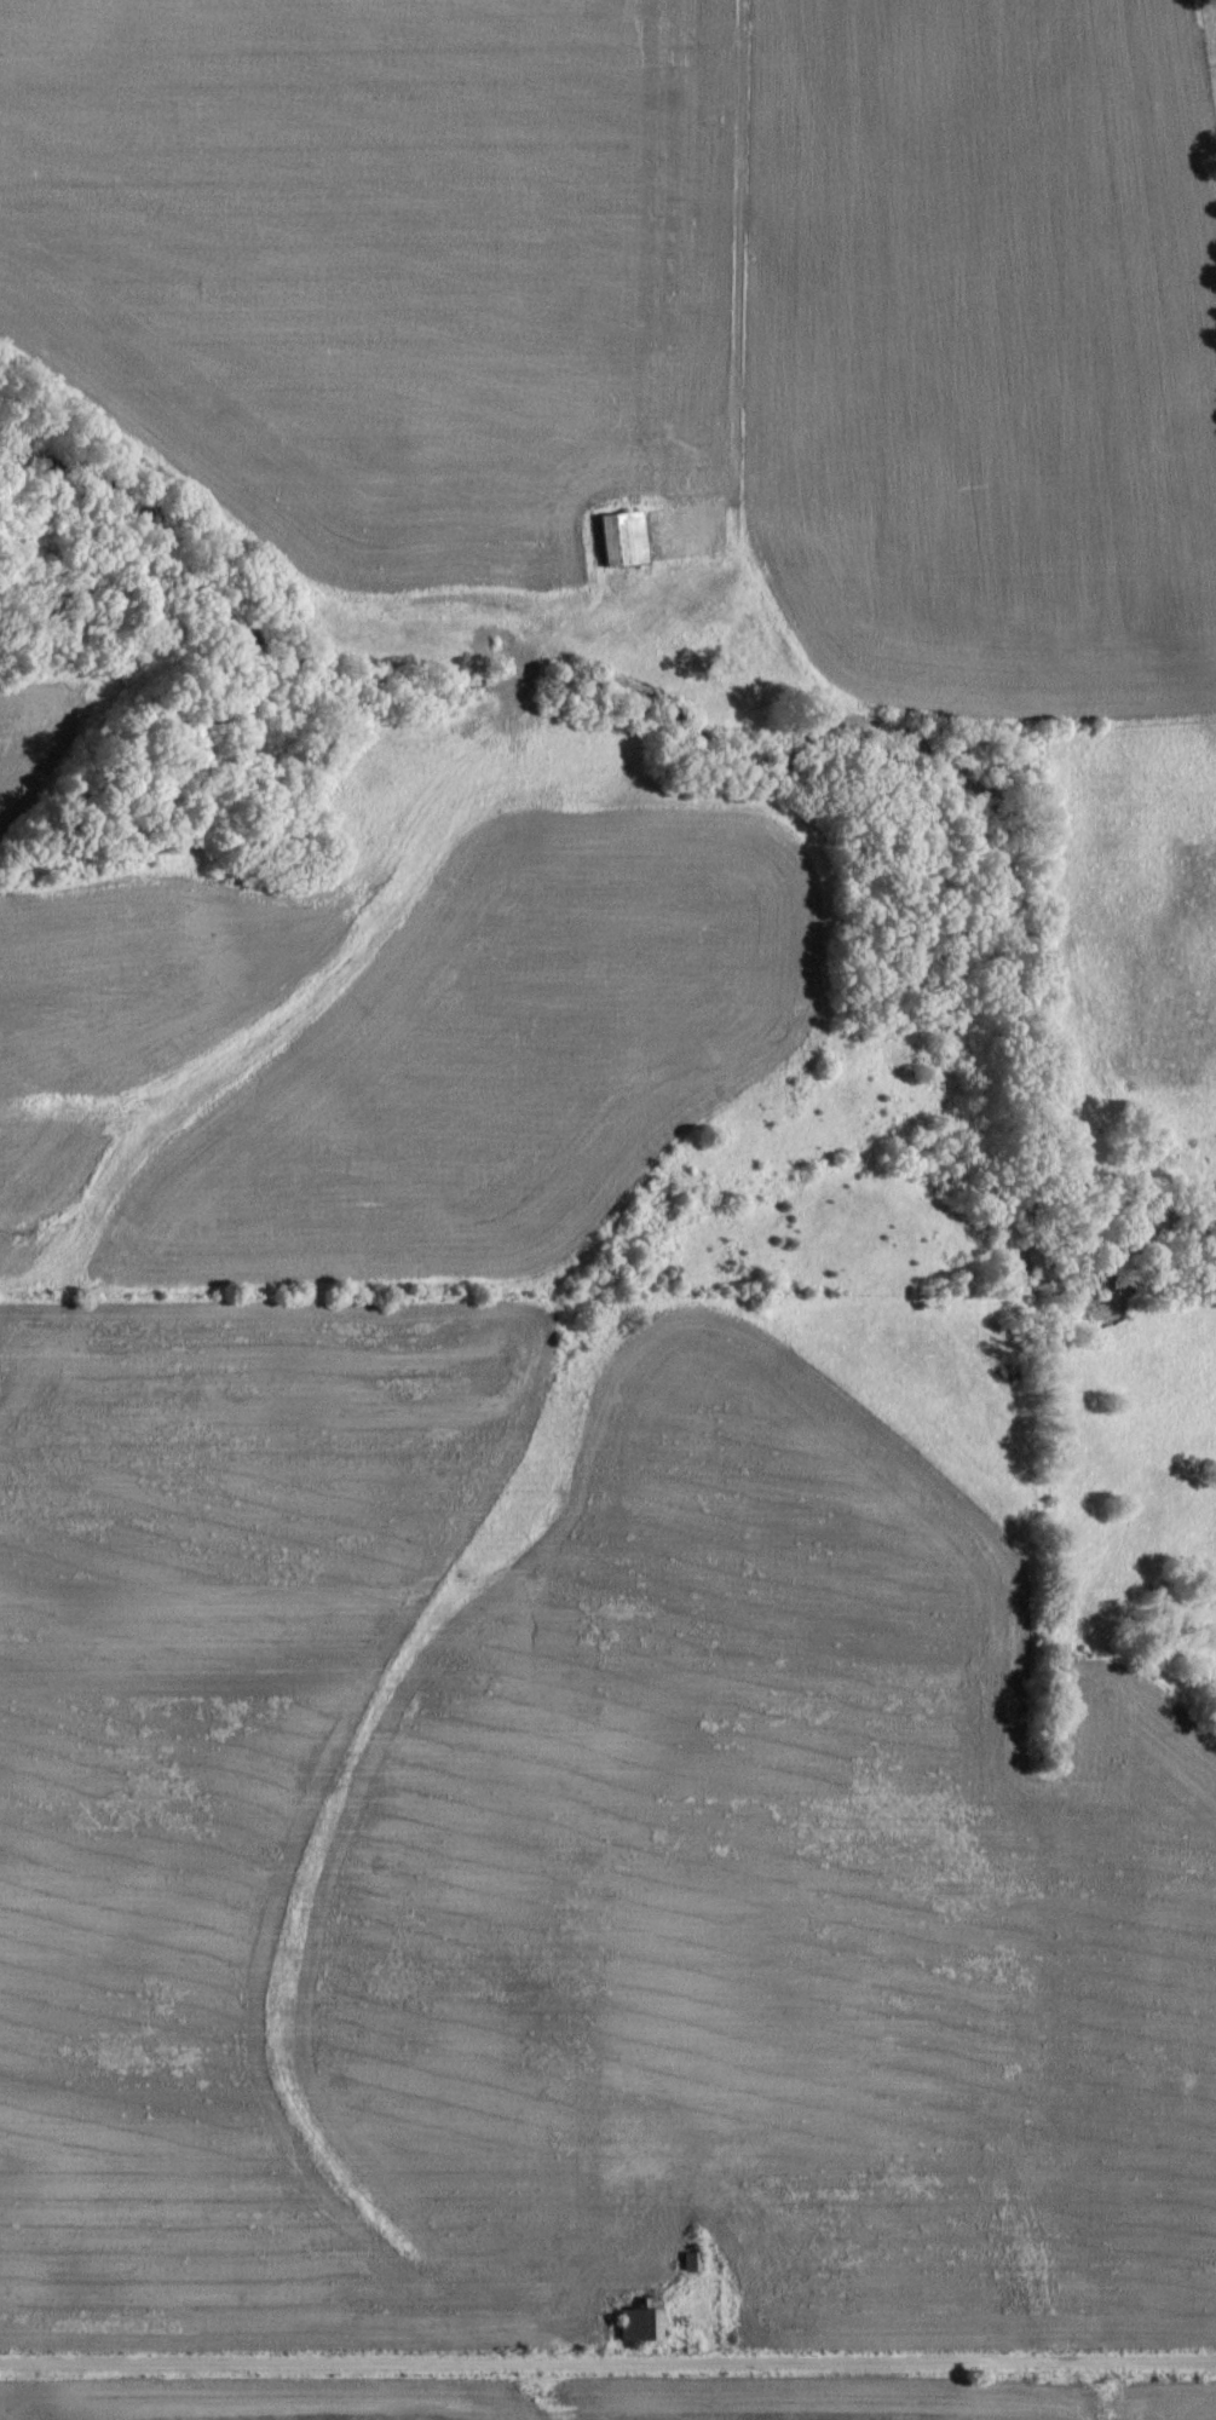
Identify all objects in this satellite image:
road: (737, 247)
building: (618, 540)
building: (690, 2263)
building: (638, 2322)
road: (607, 2362)

